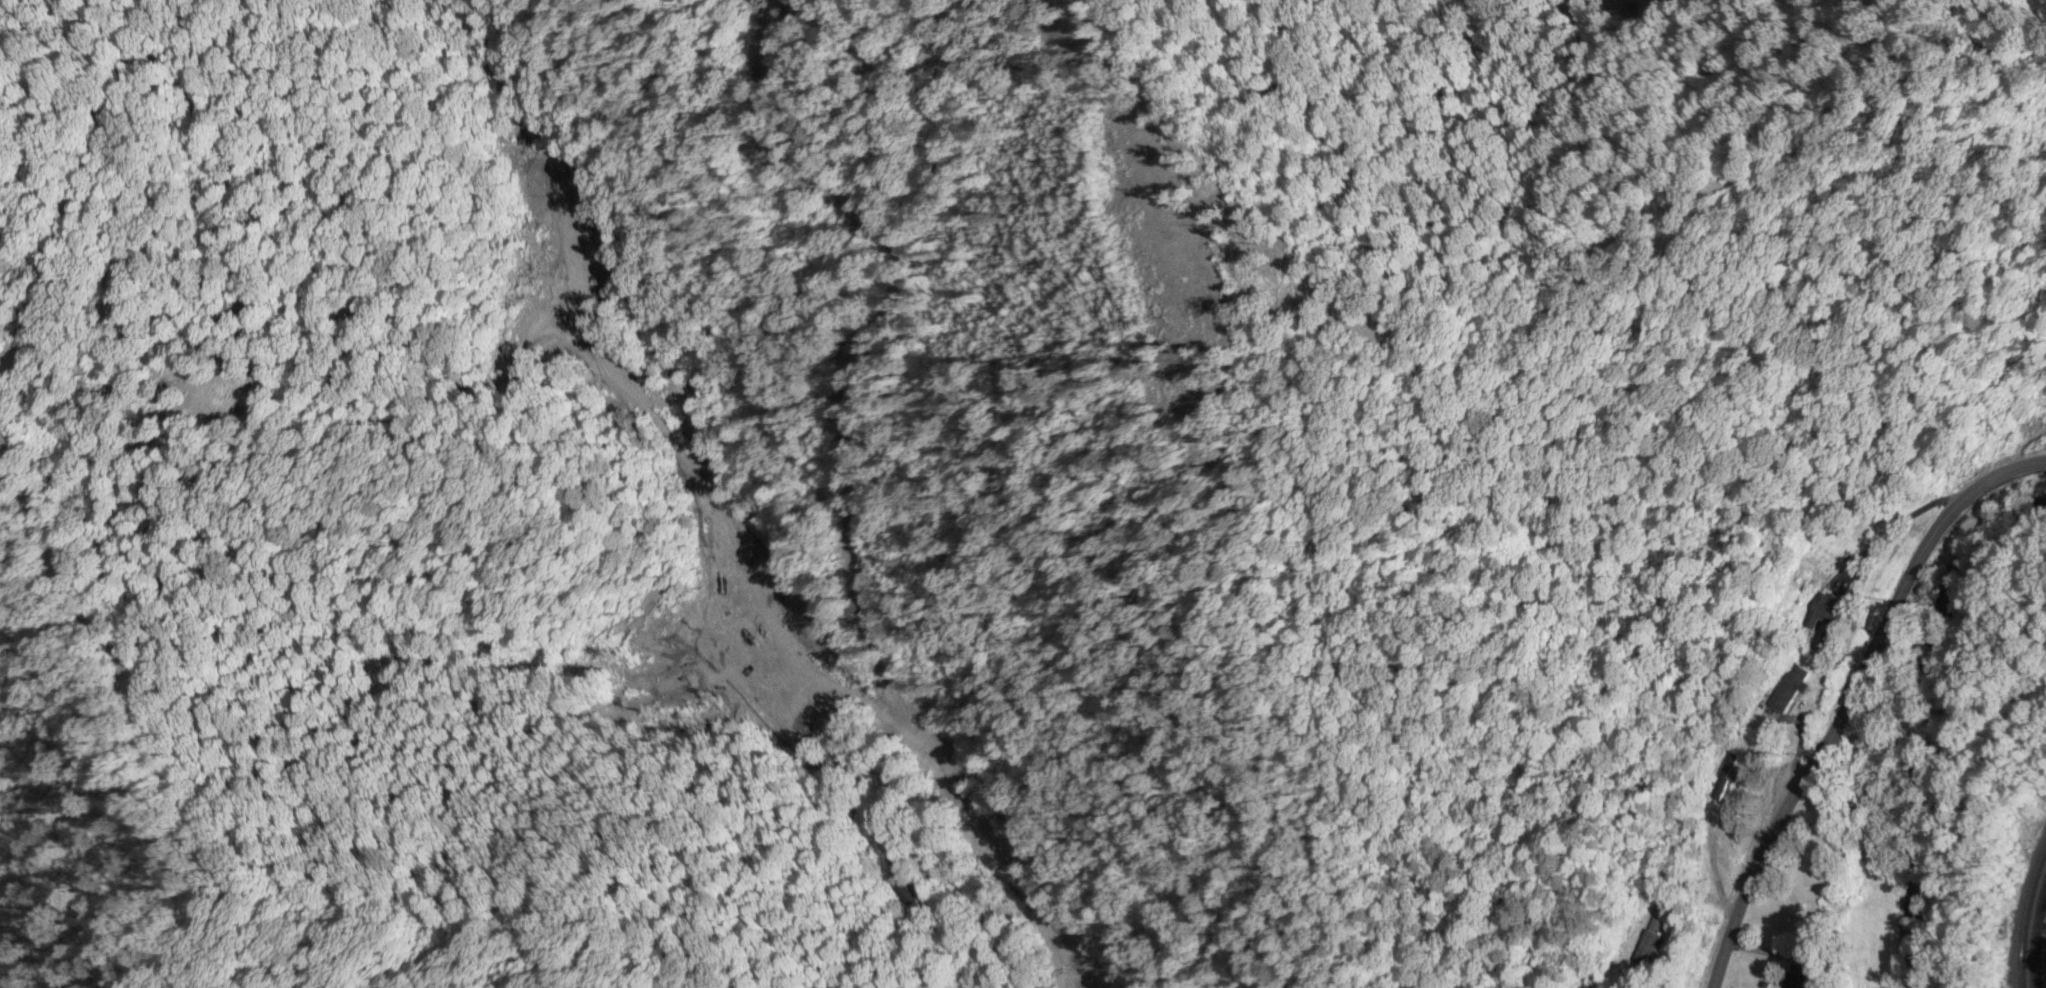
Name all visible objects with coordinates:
road: (1902, 521)
building: (1825, 609)
building: (1789, 690)
road: (1850, 701)
building: (1723, 778)
building: (904, 890)
railway: (2035, 930)
building: (1648, 945)
building: (1804, 977)

